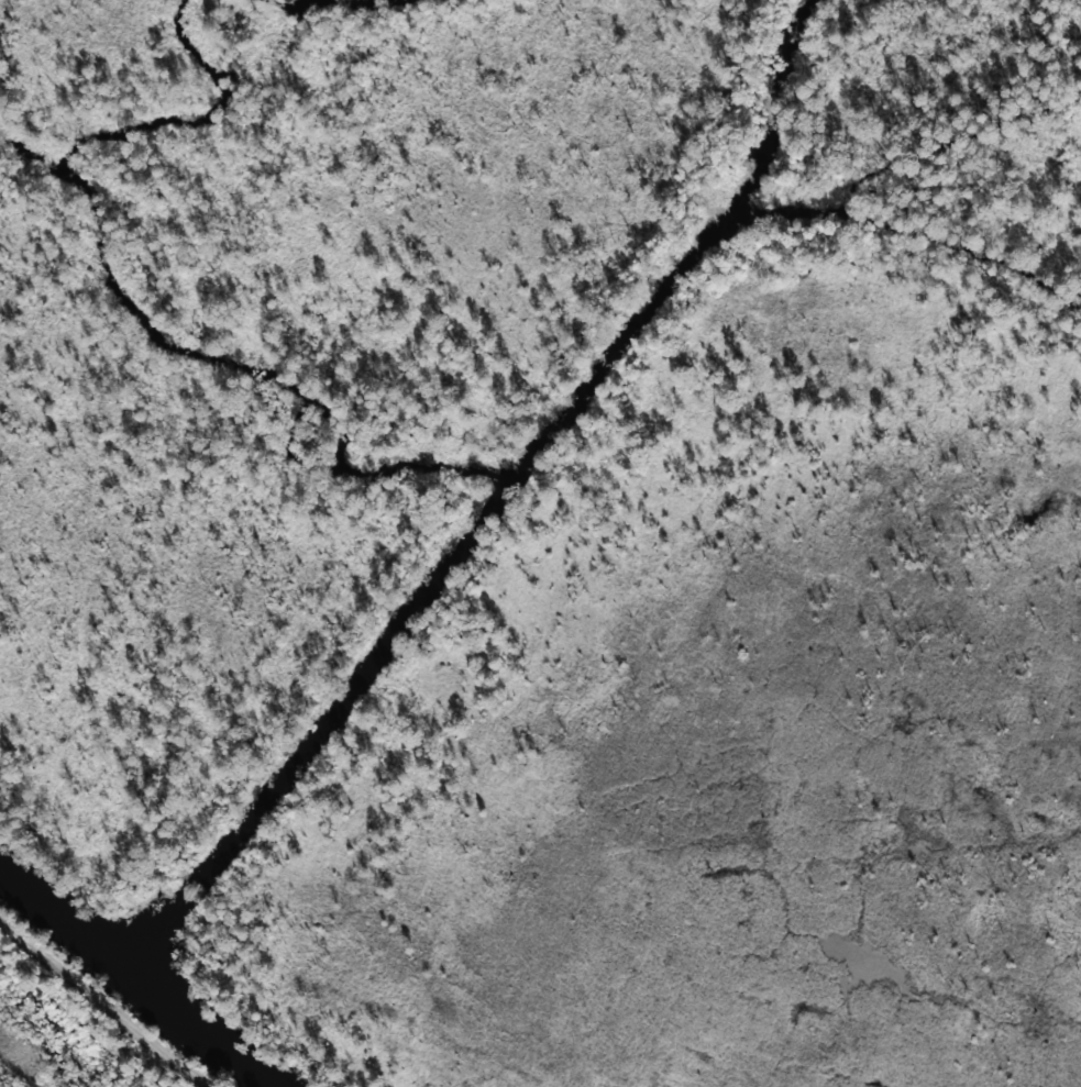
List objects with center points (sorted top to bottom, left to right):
road: (108, 1002)

